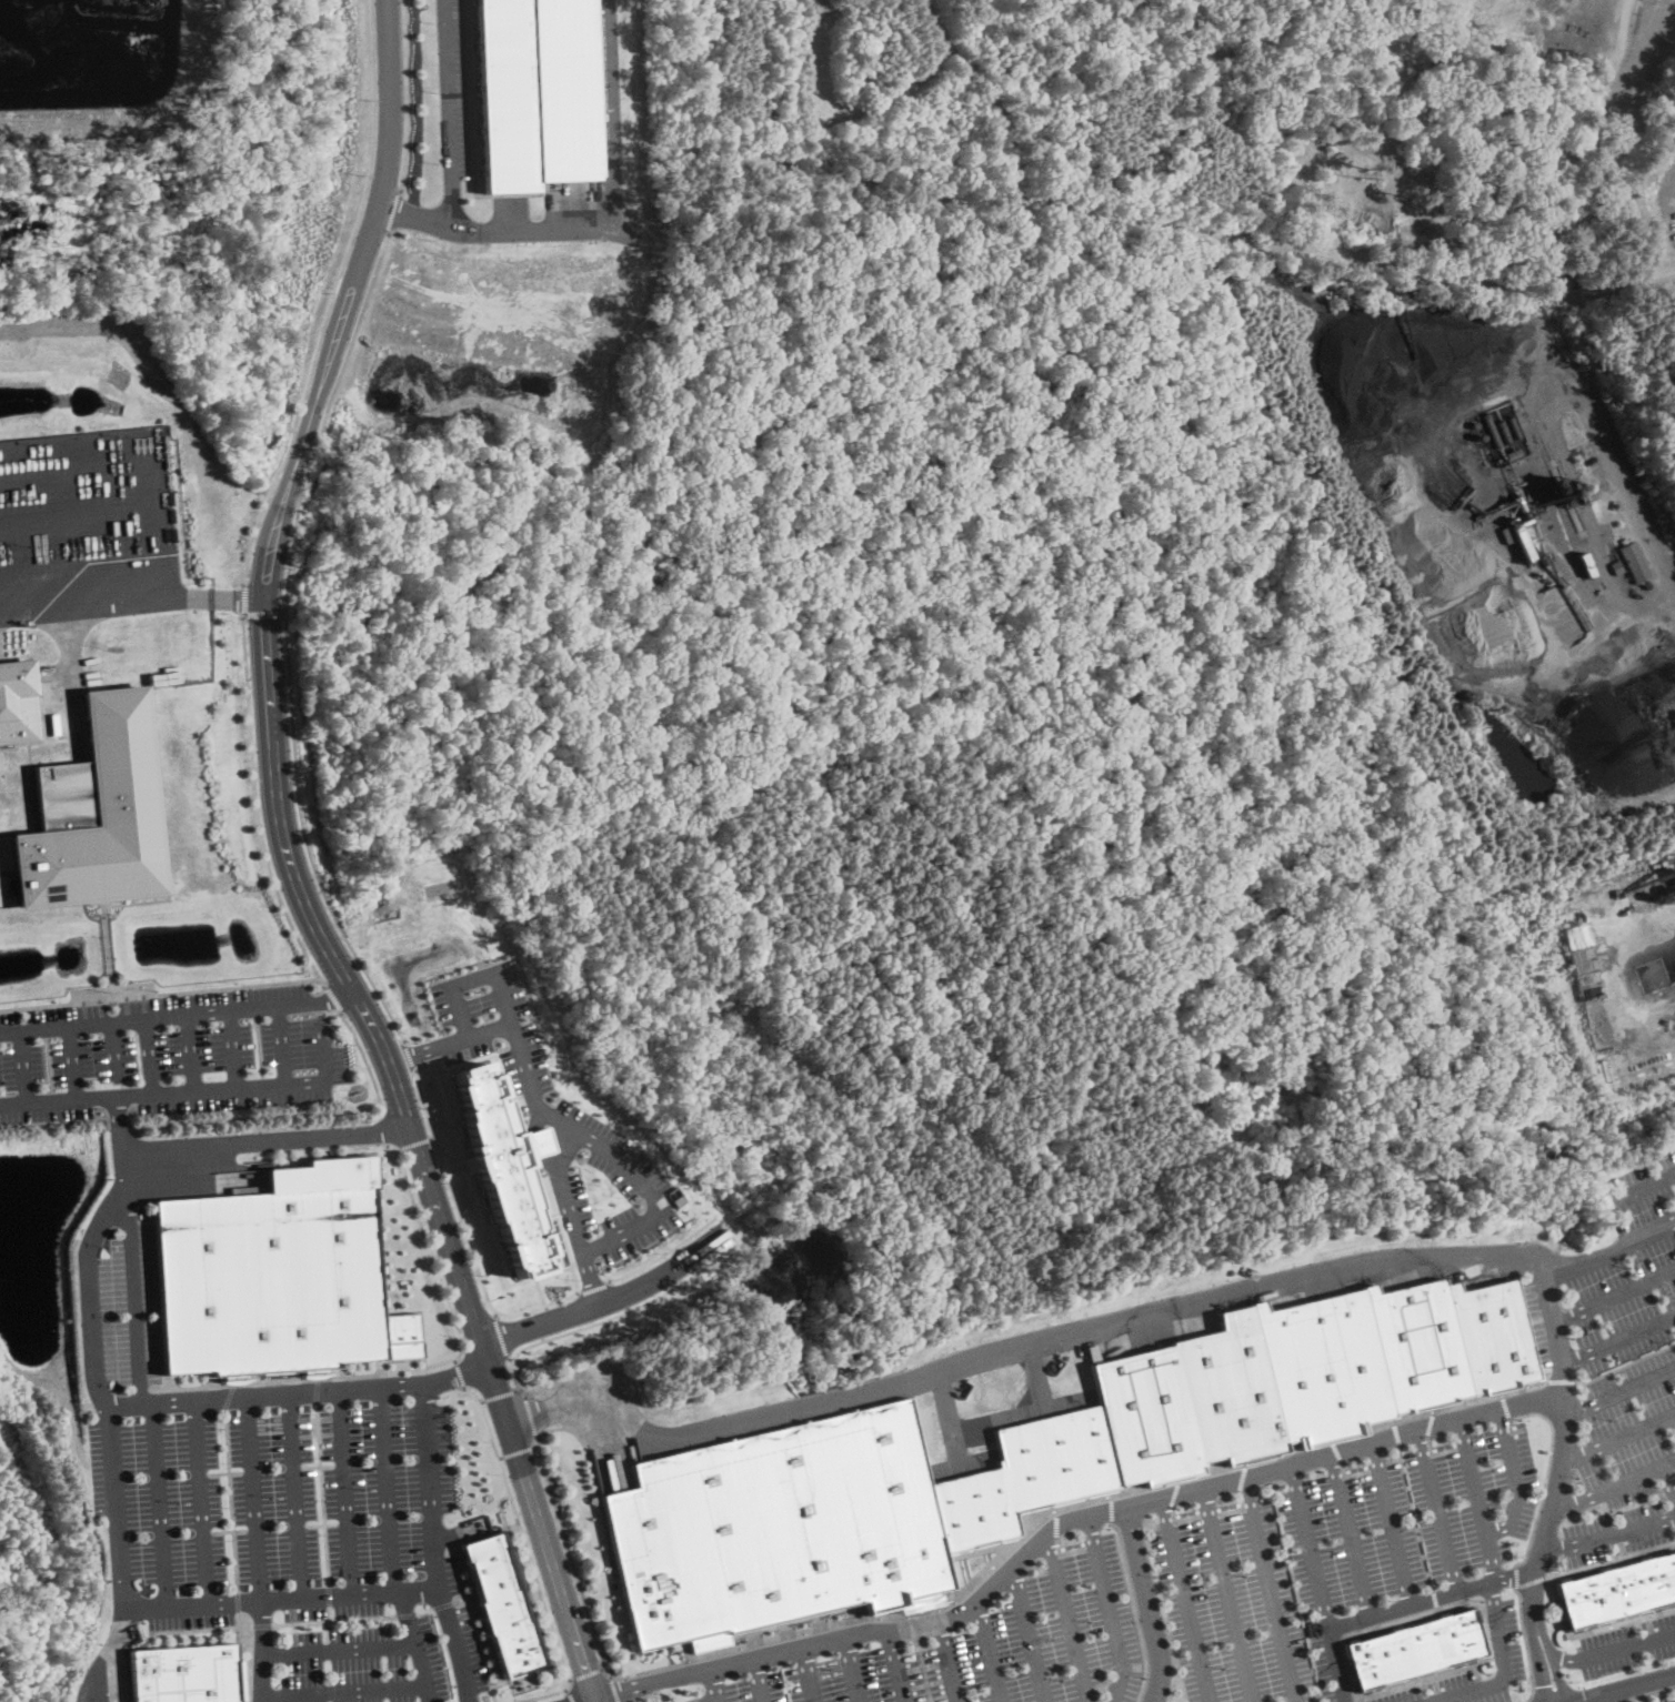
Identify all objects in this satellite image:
building: (529, 92)
road: (407, 95)
road: (450, 114)
quarry: (1587, 171)
road: (391, 212)
road: (604, 224)
road: (1558, 280)
road: (329, 296)
building: (1563, 486)
building: (1522, 538)
building: (1585, 563)
building: (1635, 563)
building: (1616, 567)
building: (1646, 583)
road: (131, 601)
road: (243, 601)
road: (263, 613)
road: (285, 641)
building: (19, 702)
road: (255, 807)
building: (98, 812)
road: (291, 869)
building: (1578, 917)
road: (332, 999)
road: (175, 1014)
road: (281, 1044)
road: (424, 1047)
road: (232, 1048)
road: (113, 1049)
road: (190, 1051)
road: (149, 1055)
road: (408, 1055)
road: (71, 1061)
road: (364, 1061)
road: (23, 1066)
road: (530, 1089)
road: (192, 1090)
road: (387, 1129)
road: (415, 1140)
road: (268, 1141)
road: (533, 1142)
building: (500, 1171)
road: (1643, 1185)
road: (564, 1189)
road: (663, 1252)
road: (432, 1260)
road: (474, 1261)
building: (274, 1271)
road: (591, 1278)
road: (593, 1285)
road: (1617, 1292)
road: (610, 1299)
road: (87, 1302)
road: (621, 1313)
road: (1087, 1328)
road: (500, 1335)
road: (1621, 1337)
building: (1092, 1352)
road: (454, 1361)
road: (460, 1374)
road: (515, 1382)
road: (501, 1396)
road: (162, 1400)
road: (482, 1402)
road: (531, 1417)
road: (1619, 1436)
road: (1565, 1443)
road: (519, 1452)
building: (1034, 1454)
road: (501, 1458)
road: (1515, 1479)
road: (1669, 1479)
road: (1615, 1484)
road: (385, 1490)
road: (321, 1492)
road: (343, 1492)
road: (292, 1495)
road: (251, 1498)
road: (1476, 1499)
road: (229, 1500)
road: (197, 1501)
road: (159, 1503)
road: (112, 1505)
road: (1112, 1509)
road: (1437, 1509)
road: (1391, 1522)
road: (563, 1529)
road: (1351, 1533)
road: (1607, 1535)
road: (1310, 1544)
road: (433, 1545)
road: (530, 1557)
road: (1272, 1588)
building: (1621, 1589)
road: (1228, 1593)
road: (328, 1594)
road: (1431, 1597)
road: (279, 1598)
road: (462, 1599)
road: (1186, 1599)
road: (235, 1601)
road: (443, 1603)
road: (1150, 1603)
building: (506, 1604)
road: (424, 1610)
road: (1110, 1610)
road: (329, 1612)
road: (407, 1614)
road: (334, 1619)
road: (1070, 1619)
road: (477, 1622)
road: (261, 1624)
road: (327, 1630)
road: (1029, 1635)
road: (1628, 1644)
road: (415, 1645)
road: (338, 1649)
building: (1418, 1650)
road: (260, 1651)
road: (989, 1651)
road: (103, 1653)
road: (1567, 1653)
road: (946, 1662)
road: (1338, 1663)
road: (1541, 1664)
road: (1556, 1664)
road: (896, 1665)
road: (608, 1668)
road: (853, 1669)
road: (1504, 1669)
building: (180, 1674)
road: (810, 1674)
road: (589, 1675)
road: (759, 1680)
road: (719, 1684)
road: (569, 1689)
road: (1631, 1689)
road: (618, 1690)
road: (342, 1691)
road: (573, 1696)
road: (1618, 1698)
road: (720, 1701)

